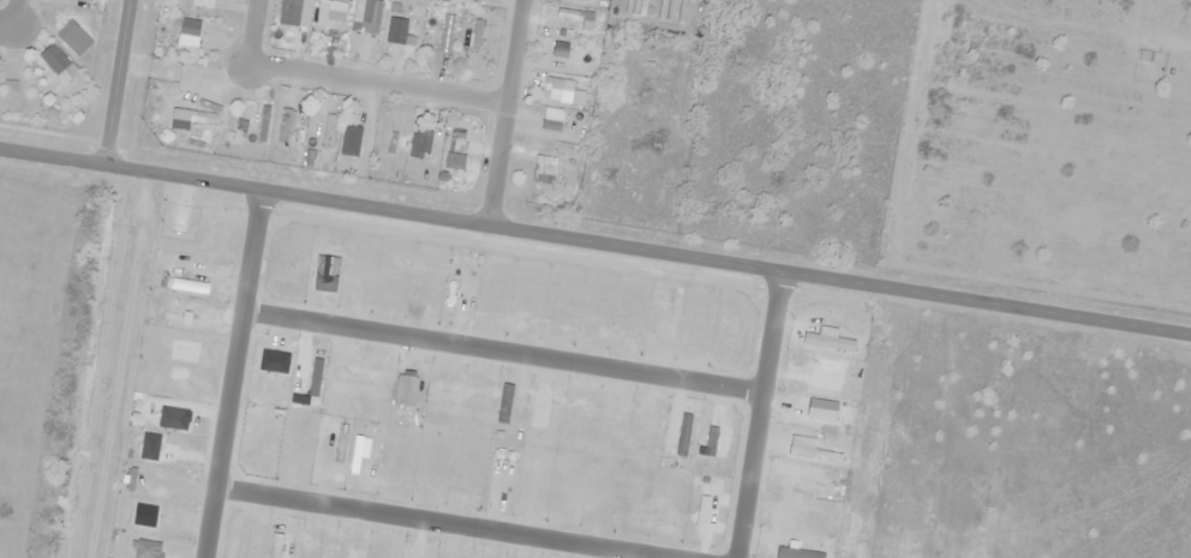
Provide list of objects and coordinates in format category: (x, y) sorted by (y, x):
building: (293, 12)
road: (12, 14)
building: (568, 16)
building: (188, 28)
building: (477, 29)
road: (250, 30)
building: (435, 37)
road: (113, 79)
road: (375, 83)
building: (553, 92)
road: (503, 112)
building: (550, 120)
building: (419, 144)
building: (457, 145)
building: (541, 173)
road: (595, 242)
road: (502, 350)
road: (232, 372)
road: (758, 415)
road: (954, 432)
road: (1162, 449)
road: (437, 522)

